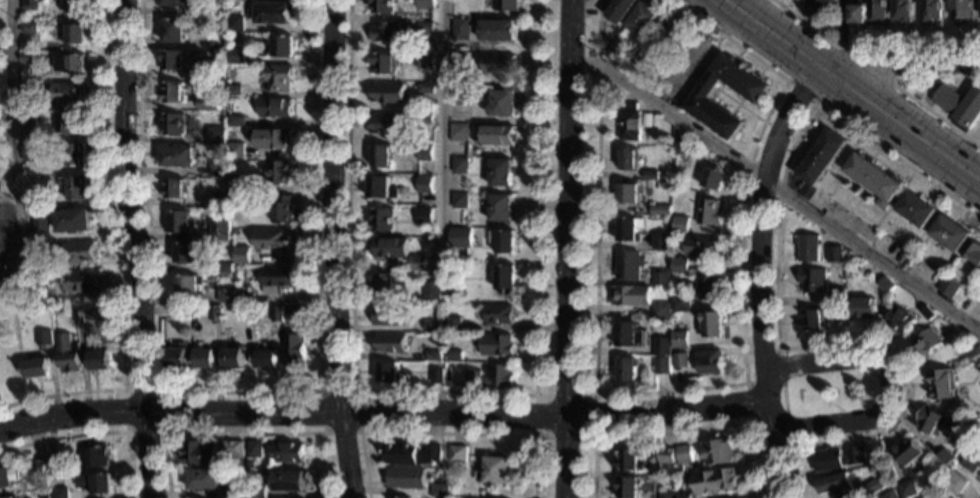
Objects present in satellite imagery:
building: (425, 0)
building: (804, 0)
building: (175, 3)
building: (28, 5)
building: (506, 5)
building: (75, 7)
building: (382, 7)
building: (818, 7)
building: (217, 8)
building: (620, 10)
building: (902, 11)
building: (930, 11)
building: (962, 11)
building: (877, 12)
building: (274, 13)
building: (857, 14)
building: (642, 18)
building: (236, 24)
building: (29, 27)
building: (426, 27)
building: (461, 29)
building: (173, 30)
building: (500, 30)
building: (668, 31)
building: (385, 32)
building: (73, 33)
building: (216, 42)
road: (869, 43)
building: (282, 46)
building: (615, 55)
building: (238, 56)
building: (27, 59)
building: (171, 60)
building: (424, 60)
road: (894, 61)
building: (71, 63)
building: (384, 64)
building: (462, 64)
building: (499, 65)
road: (679, 67)
building: (641, 68)
building: (213, 71)
road: (701, 74)
building: (280, 78)
building: (28, 87)
road: (853, 87)
road: (897, 87)
building: (425, 88)
building: (234, 91)
building: (171, 92)
building: (387, 92)
building: (68, 93)
road: (837, 95)
building: (702, 96)
building: (461, 98)
building: (208, 104)
building: (504, 104)
road: (738, 104)
road: (740, 105)
building: (960, 106)
building: (275, 108)
building: (425, 118)
building: (27, 119)
building: (237, 121)
building: (629, 122)
building: (68, 123)
building: (172, 124)
building: (385, 124)
building: (458, 132)
building: (215, 135)
building: (497, 135)
road: (441, 137)
building: (271, 138)
road: (12, 141)
building: (680, 147)
building: (30, 151)
building: (236, 151)
building: (425, 153)
building: (71, 155)
building: (382, 156)
building: (177, 157)
building: (822, 157)
building: (628, 160)
building: (460, 166)
building: (216, 167)
building: (279, 172)
building: (502, 173)
building: (650, 174)
building: (713, 179)
building: (875, 179)
building: (243, 184)
building: (424, 185)
building: (74, 186)
building: (171, 188)
building: (382, 188)
road: (777, 188)
building: (629, 193)
building: (217, 199)
building: (231, 199)
building: (36, 201)
building: (459, 201)
building: (500, 208)
building: (283, 209)
building: (917, 209)
building: (660, 210)
building: (424, 212)
building: (708, 212)
building: (382, 219)
building: (71, 221)
building: (467, 221)
building: (40, 222)
building: (180, 222)
building: (680, 225)
building: (627, 229)
building: (219, 230)
building: (951, 234)
road: (757, 235)
building: (460, 238)
building: (272, 240)
building: (503, 242)
building: (661, 242)
park: (4, 244)
building: (703, 246)
building: (390, 247)
building: (808, 248)
building: (39, 249)
road: (133, 249)
road: (337, 249)
road: (568, 249)
building: (79, 250)
building: (973, 251)
building: (185, 253)
building: (835, 254)
road: (119, 257)
building: (242, 258)
building: (416, 263)
building: (628, 265)
building: (679, 266)
building: (224, 268)
park: (8, 276)
building: (660, 277)
building: (276, 279)
building: (506, 279)
building: (812, 280)
building: (83, 281)
building: (385, 283)
building: (187, 285)
building: (886, 285)
building: (433, 287)
building: (949, 287)
building: (448, 288)
building: (706, 288)
building: (630, 295)
building: (838, 296)
building: (40, 297)
road: (774, 298)
building: (227, 299)
building: (245, 299)
building: (680, 303)
building: (863, 309)
building: (178, 310)
building: (293, 310)
building: (660, 312)
building: (93, 313)
building: (927, 313)
building: (215, 314)
building: (276, 314)
building: (499, 314)
building: (78, 315)
building: (387, 315)
building: (246, 316)
building: (838, 316)
building: (812, 319)
building: (899, 320)
building: (453, 324)
building: (710, 325)
building: (433, 326)
building: (629, 336)
building: (43, 338)
building: (679, 340)
building: (926, 342)
building: (390, 344)
building: (496, 345)
building: (660, 346)
building: (294, 350)
building: (973, 351)
building: (67, 353)
building: (455, 355)
building: (433, 356)
building: (176, 357)
building: (99, 358)
building: (204, 358)
building: (233, 358)
building: (265, 358)
building: (679, 360)
building: (710, 362)
building: (660, 366)
building: (36, 367)
building: (625, 369)
building: (386, 372)
building: (436, 376)
building: (492, 377)
building: (942, 384)
road: (889, 385)
road: (698, 387)
road: (239, 391)
road: (446, 392)
road: (782, 397)
road: (747, 402)
road: (383, 413)
building: (929, 420)
road: (678, 428)
road: (125, 430)
road: (95, 432)
road: (242, 432)
road: (358, 432)
road: (444, 434)
road: (593, 434)
building: (231, 448)
building: (253, 449)
road: (776, 450)
building: (717, 451)
building: (907, 452)
building: (201, 453)
building: (288, 453)
building: (410, 454)
building: (457, 454)
building: (683, 455)
building: (92, 456)
building: (665, 456)
building: (944, 457)
building: (833, 459)
building: (629, 460)
building: (54, 464)
building: (969, 465)
building: (38, 467)
building: (495, 471)
building: (8, 477)
building: (405, 478)
building: (203, 480)
building: (290, 481)
building: (714, 482)
building: (95, 483)
building: (954, 483)
building: (835, 485)
building: (627, 487)
building: (870, 488)
building: (906, 489)
building: (238, 491)
building: (258, 491)
building: (439, 491)
building: (58, 492)
building: (666, 495)
building: (684, 495)
building: (887, 495)
building: (932, 496)
building: (11, 497)
building: (16, 497)
building: (399, 497)

